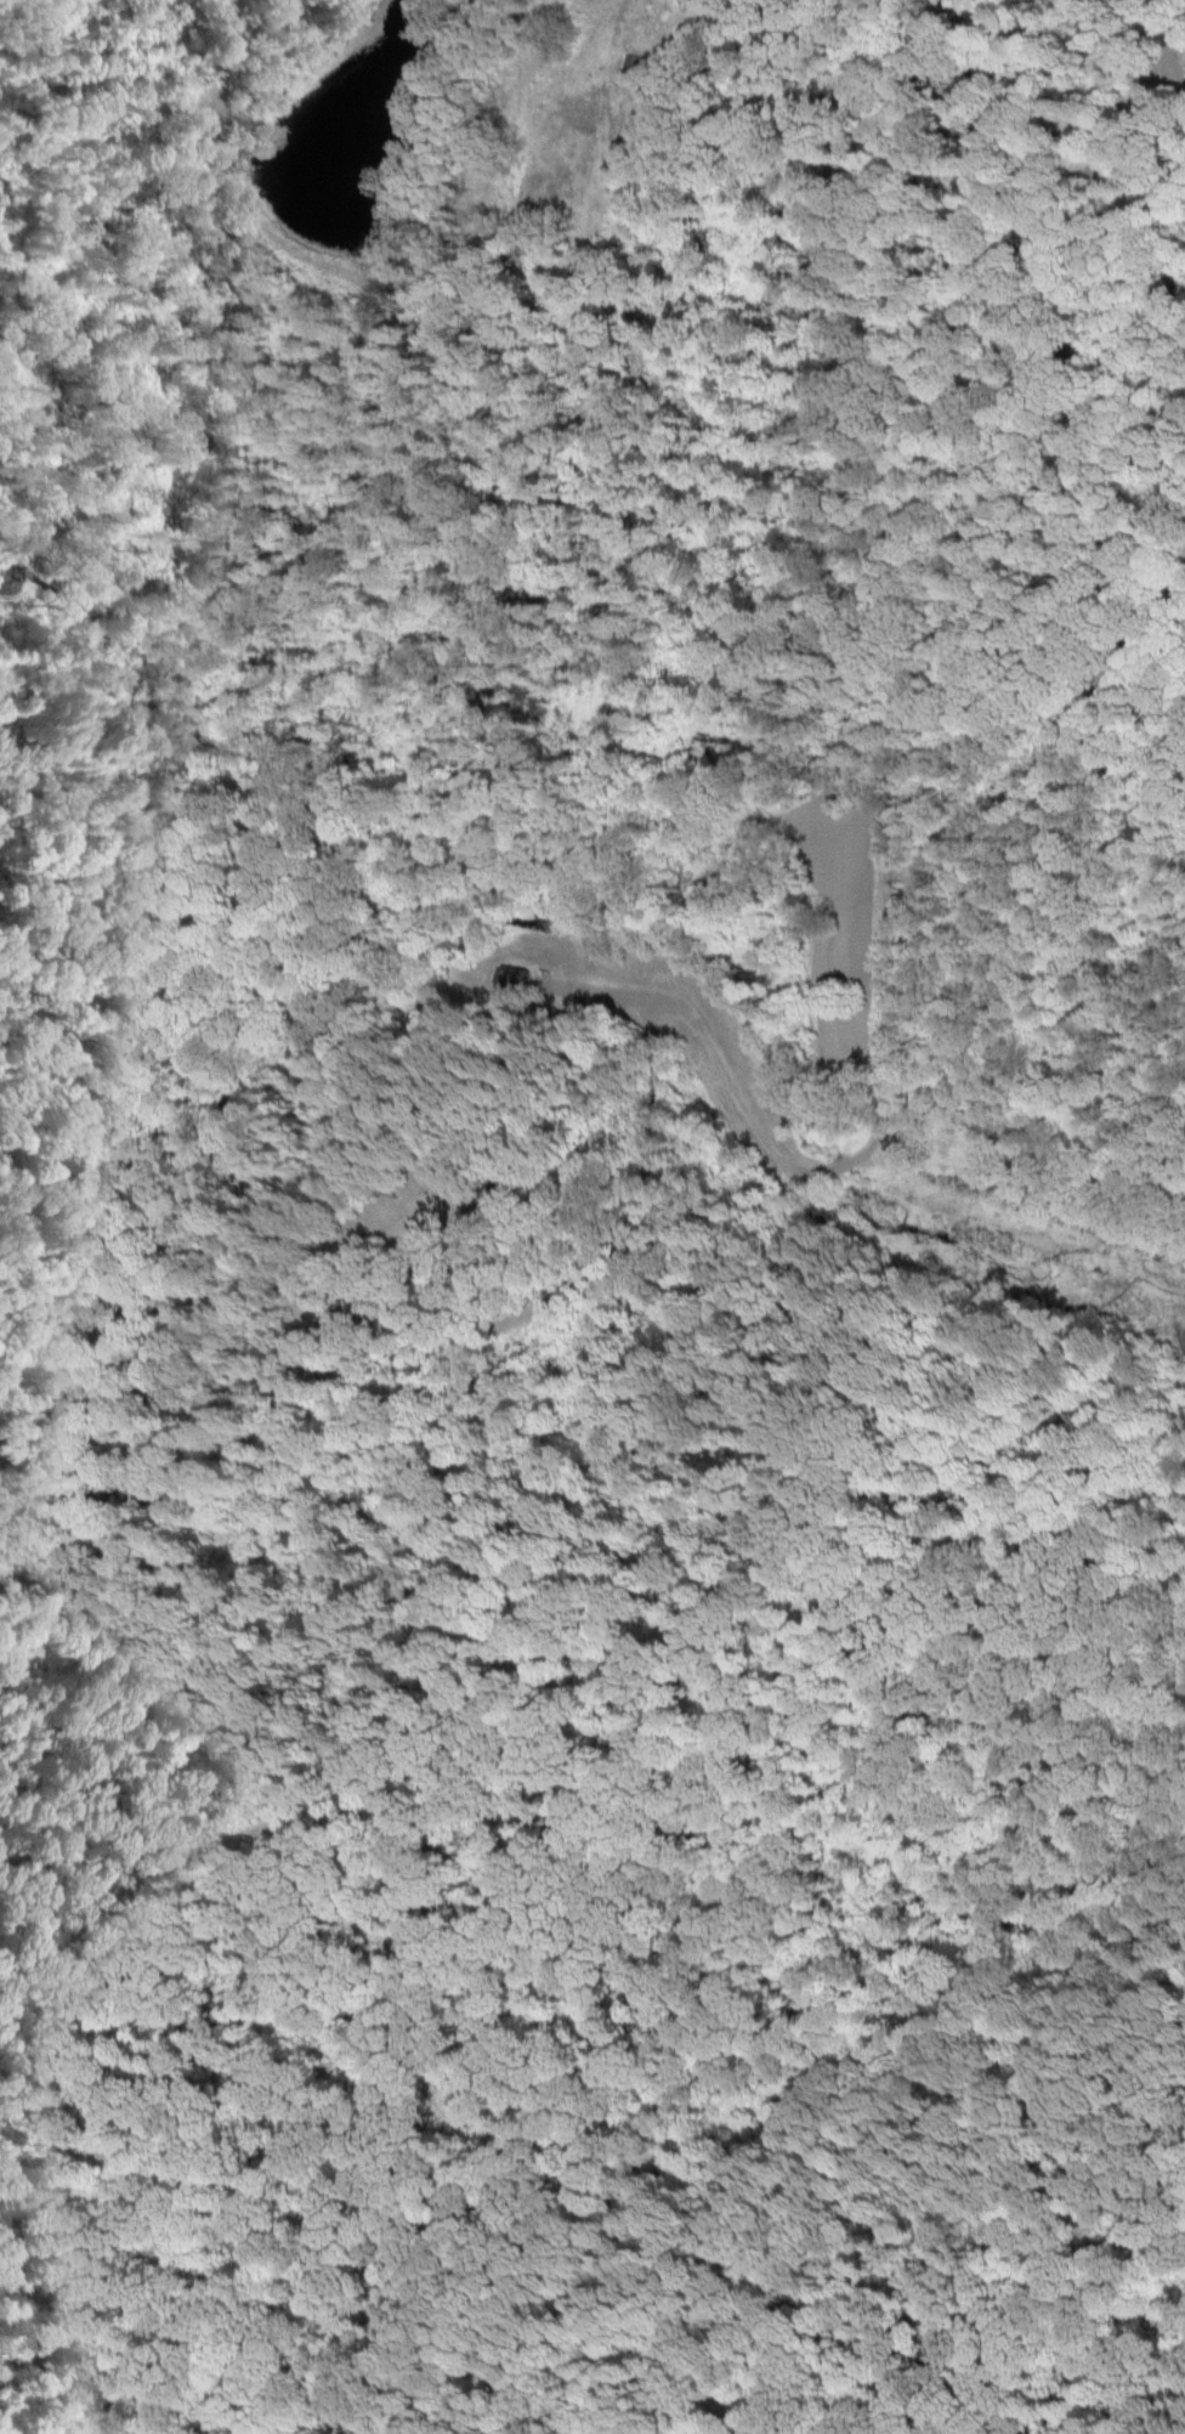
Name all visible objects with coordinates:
road: (886, 991)
road: (546, 1300)

